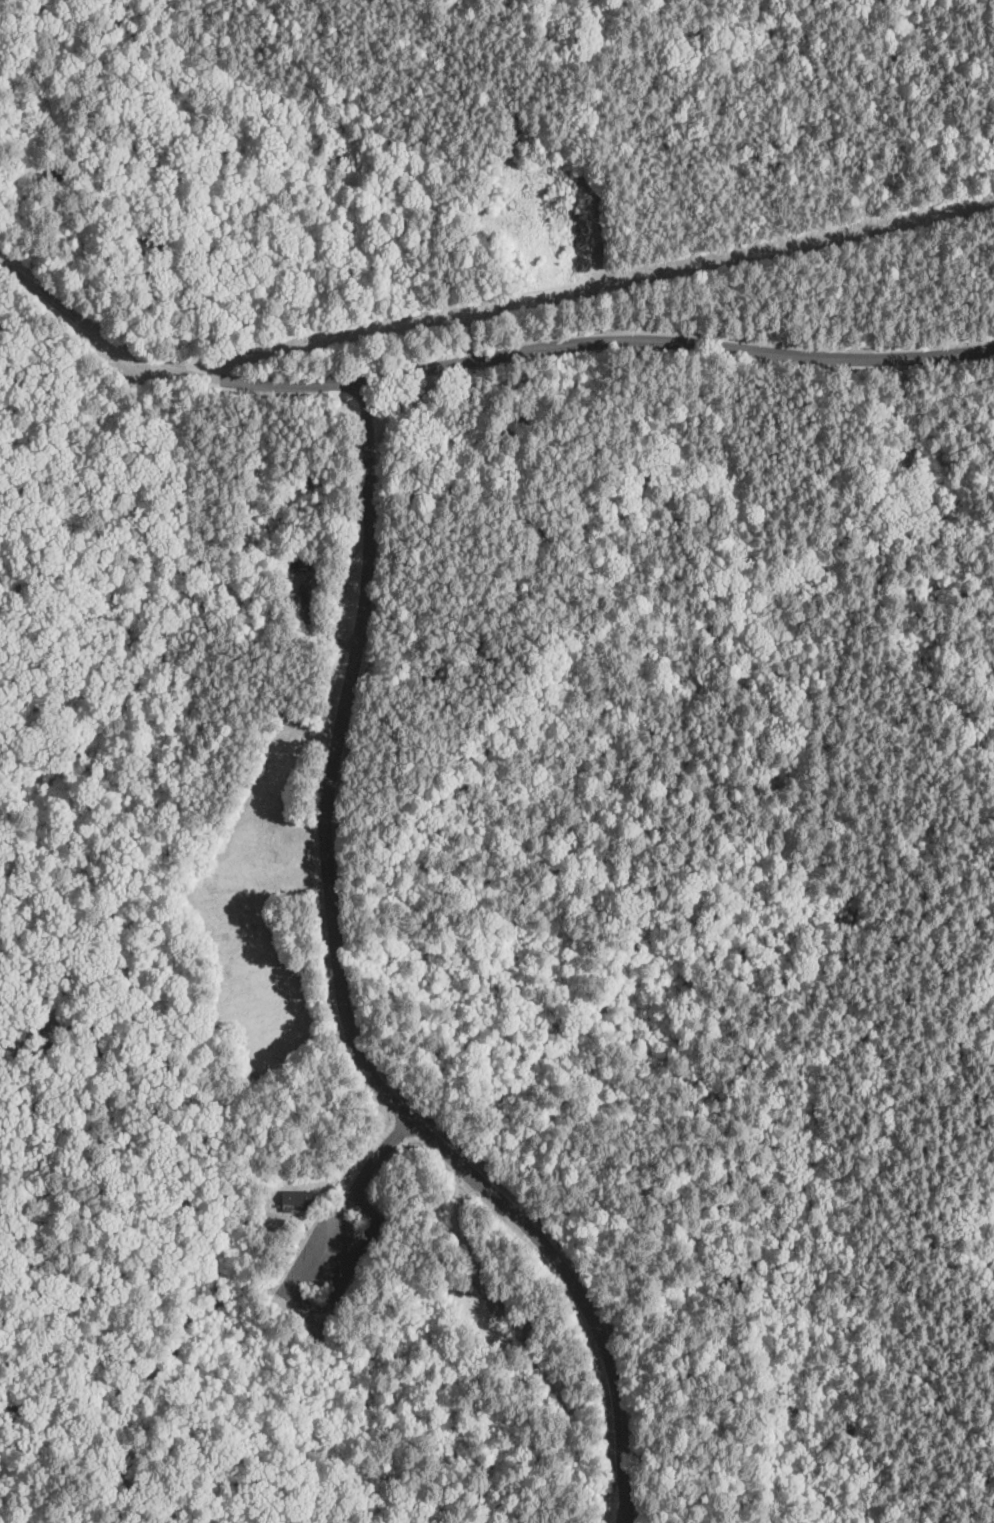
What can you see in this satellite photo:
road: (97, 331)
road: (598, 341)
park: (497, 761)
road: (340, 998)
road: (356, 1184)
building: (296, 1200)

